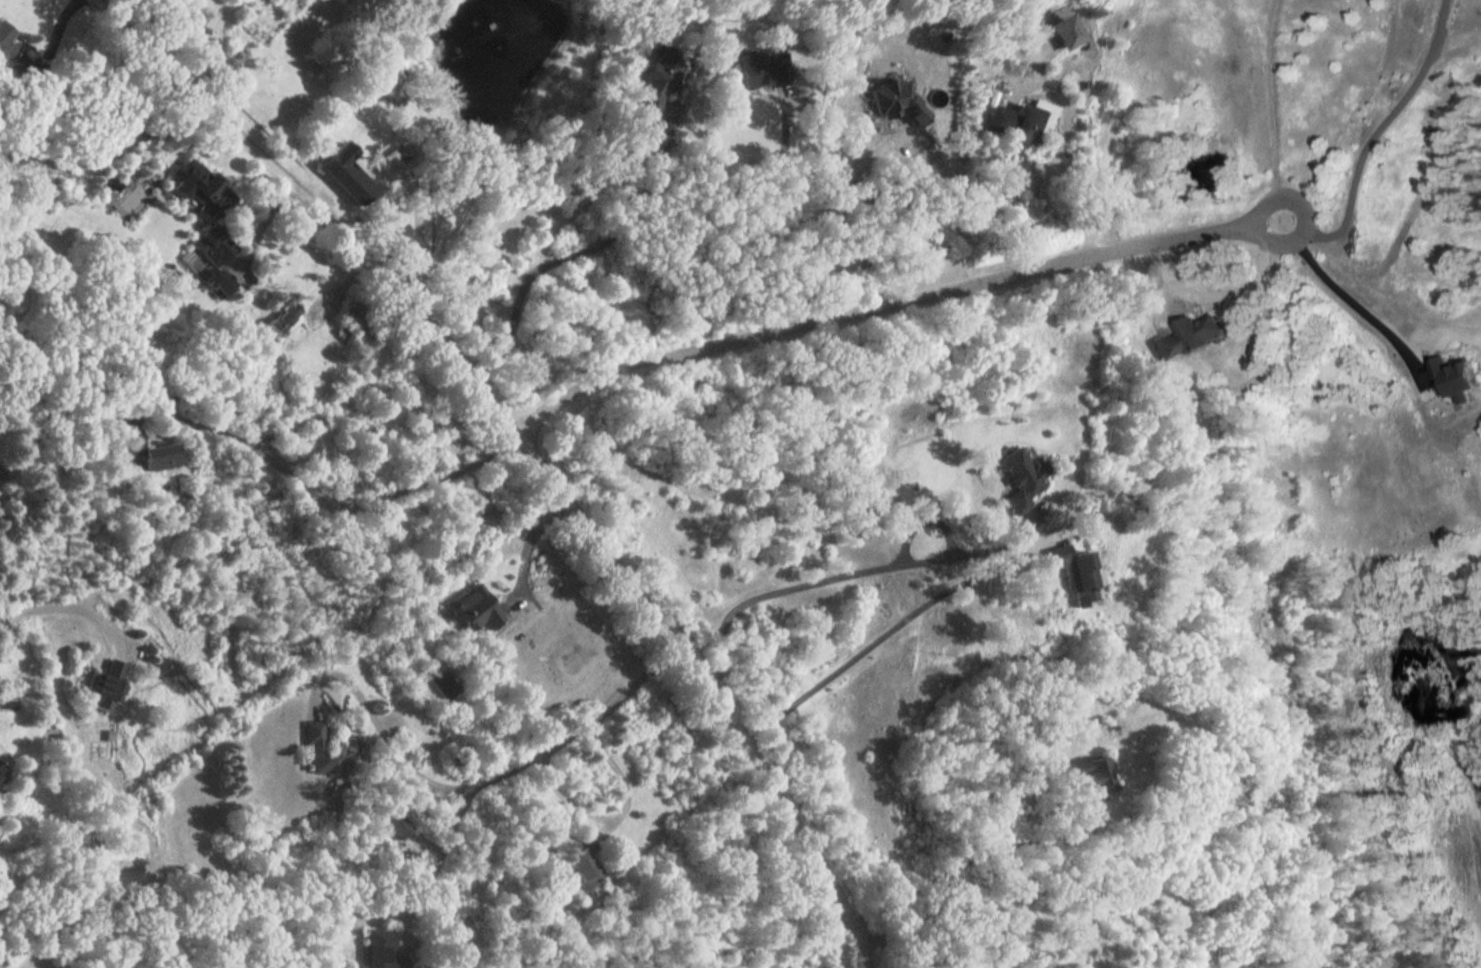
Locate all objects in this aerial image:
building: (5, 44)
building: (761, 71)
building: (655, 88)
building: (1021, 126)
road: (1361, 143)
road: (645, 144)
road: (1068, 150)
road: (1047, 172)
building: (347, 174)
building: (204, 207)
road: (764, 213)
road: (418, 216)
road: (819, 219)
road: (581, 254)
building: (217, 285)
road: (1186, 297)
road: (1345, 304)
road: (886, 305)
building: (352, 311)
building: (279, 321)
building: (1186, 333)
road: (1256, 342)
building: (1453, 373)
road: (531, 446)
building: (156, 458)
building: (1028, 480)
road: (382, 500)
road: (928, 524)
road: (529, 541)
road: (861, 573)
building: (1085, 574)
road: (62, 609)
building: (473, 611)
road: (901, 625)
building: (102, 687)
building: (319, 750)
building: (1095, 773)
road: (487, 779)
building: (1, 781)
road: (1086, 802)
road: (614, 817)
building: (388, 827)
road: (442, 852)
road: (974, 859)
building: (582, 867)
road: (944, 911)
building: (379, 950)

